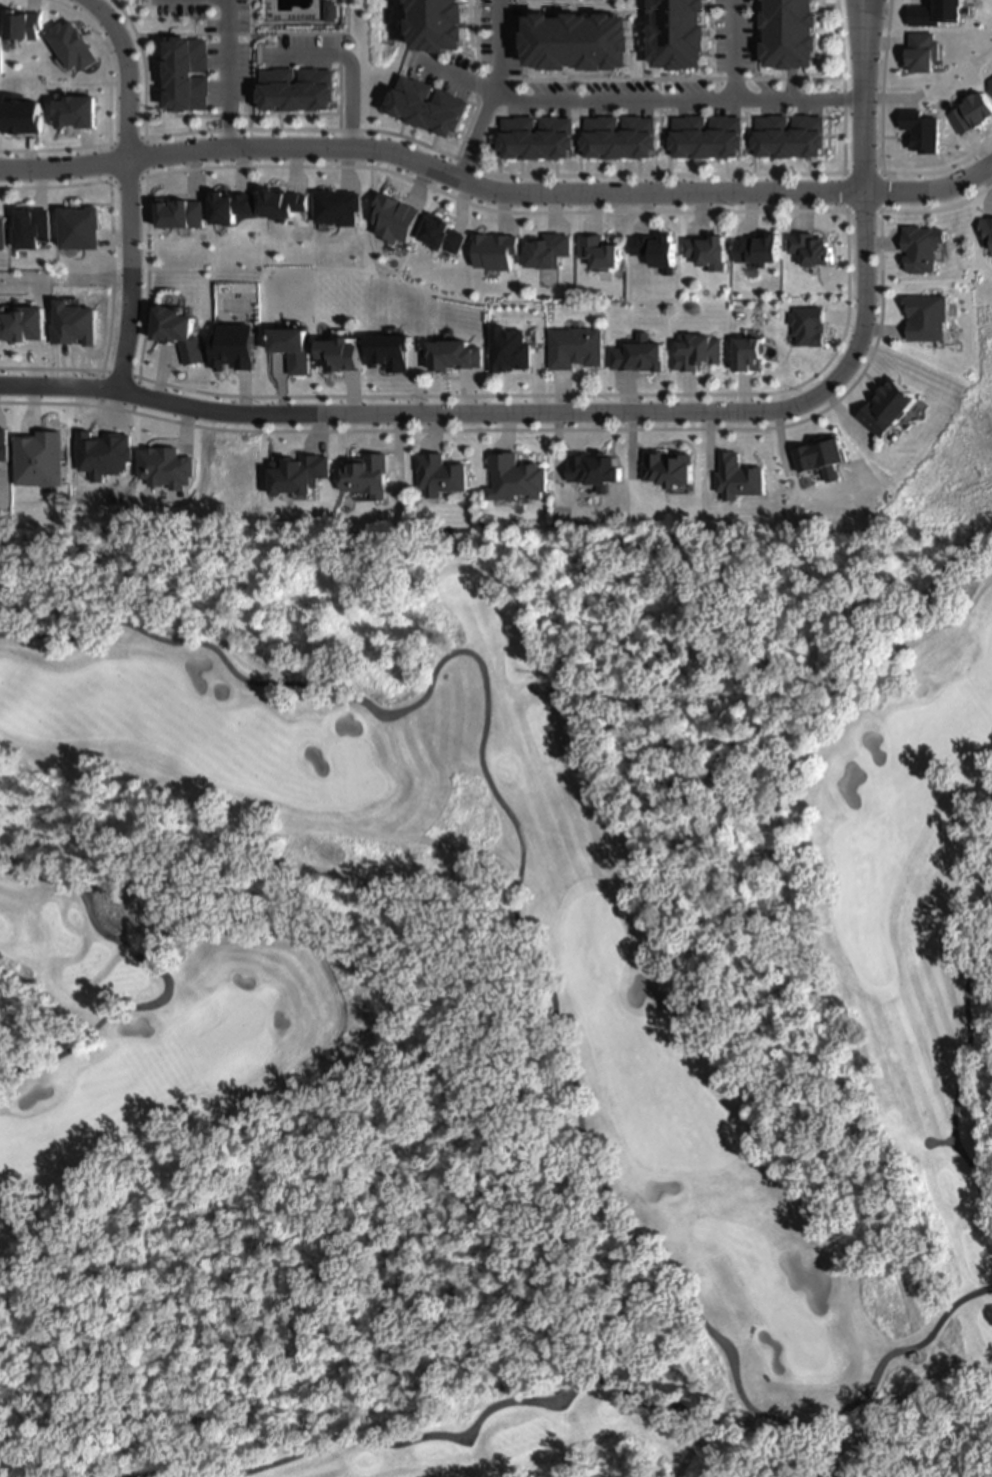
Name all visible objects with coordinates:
road: (859, 0)
road: (860, 0)
building: (934, 12)
building: (437, 26)
building: (684, 33)
building: (790, 34)
building: (580, 40)
road: (733, 50)
building: (921, 52)
road: (349, 64)
road: (226, 74)
building: (990, 82)
road: (491, 93)
road: (634, 102)
road: (144, 107)
building: (425, 110)
building: (971, 112)
building: (22, 117)
road: (110, 122)
building: (922, 130)
road: (188, 132)
building: (706, 140)
building: (791, 140)
building: (535, 141)
building: (619, 141)
road: (862, 177)
road: (127, 188)
road: (54, 189)
road: (495, 193)
building: (31, 226)
building: (987, 230)
building: (1, 233)
building: (924, 249)
building: (545, 252)
building: (598, 253)
building: (702, 254)
building: (808, 254)
building: (573, 352)
building: (453, 355)
building: (695, 355)
building: (344, 357)
building: (890, 410)
road: (436, 415)
building: (14, 450)
building: (668, 471)
building: (590, 472)
building: (296, 475)
building: (436, 475)
building: (517, 478)
road: (921, 632)
road: (415, 839)
road: (259, 862)
road: (520, 945)
road: (160, 976)
park: (496, 998)
road: (964, 1021)
road: (938, 1142)
road: (414, 1172)
road: (744, 1417)
road: (744, 1429)
road: (455, 1436)

